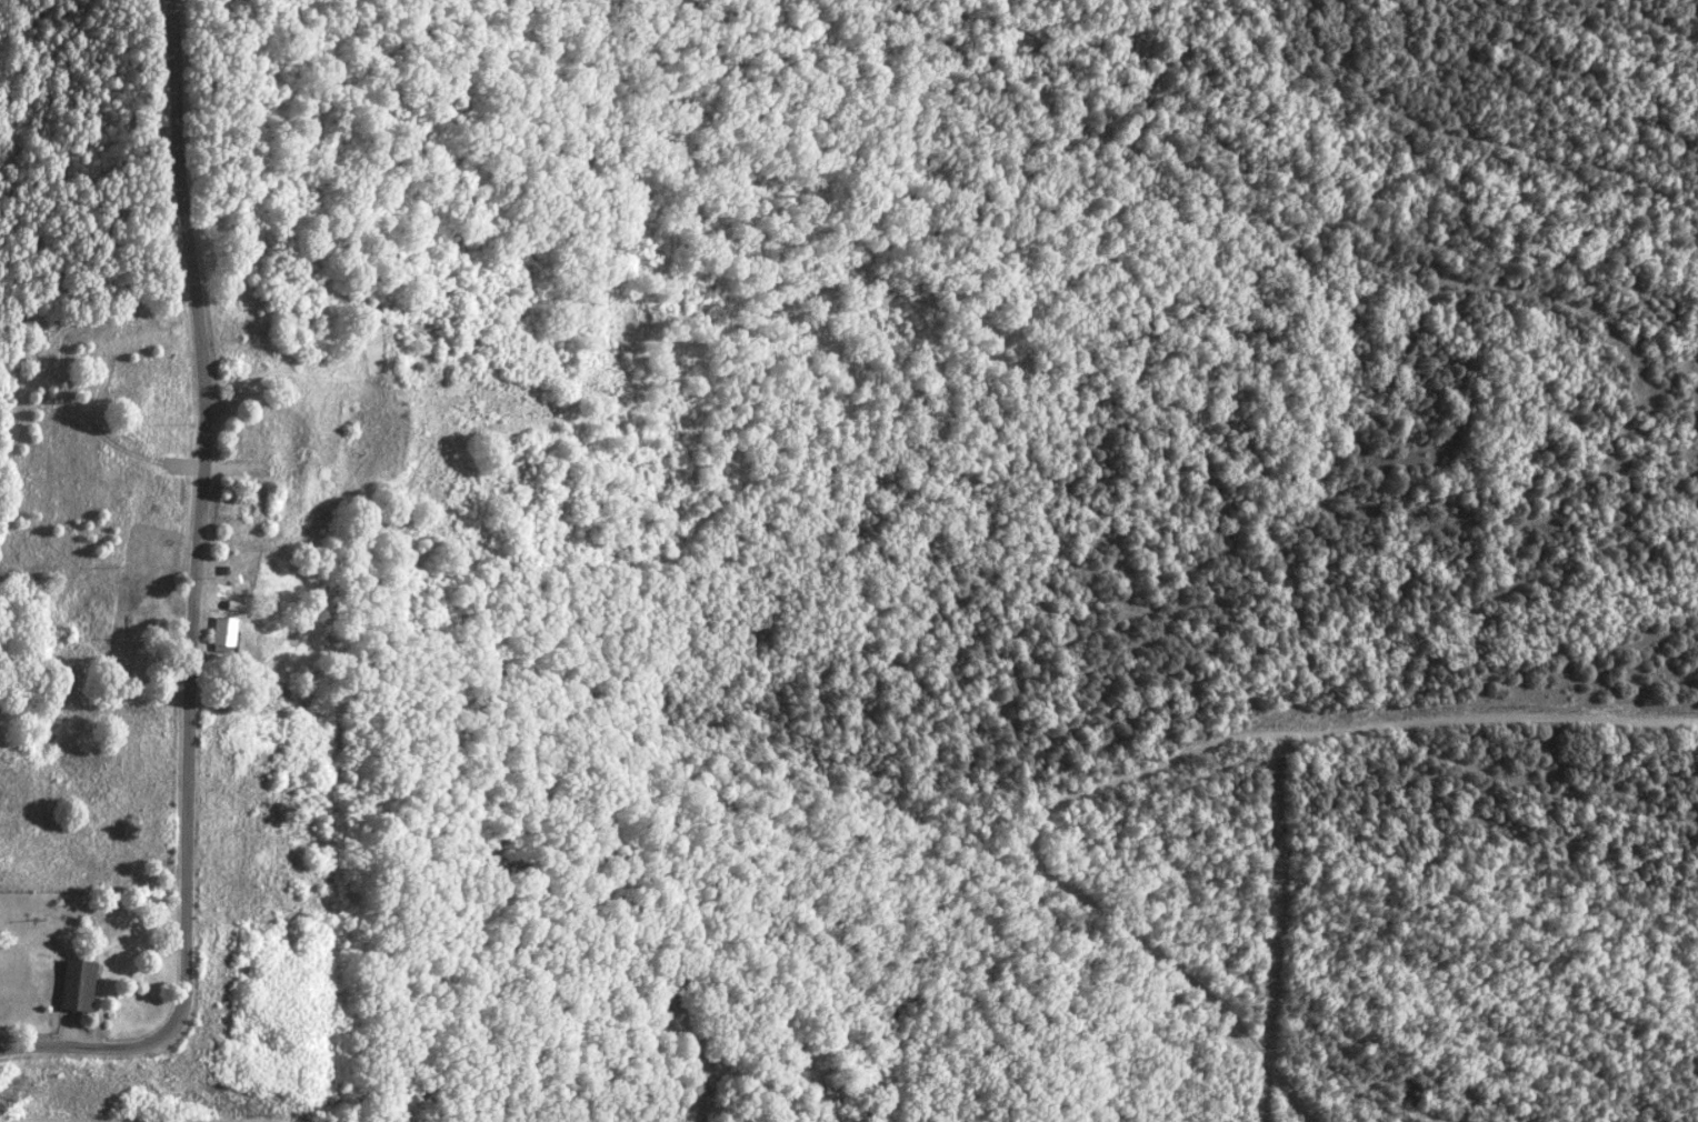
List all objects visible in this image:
road: (194, 602)
building: (222, 633)
road: (1153, 765)
building: (74, 984)
road: (698, 1084)

